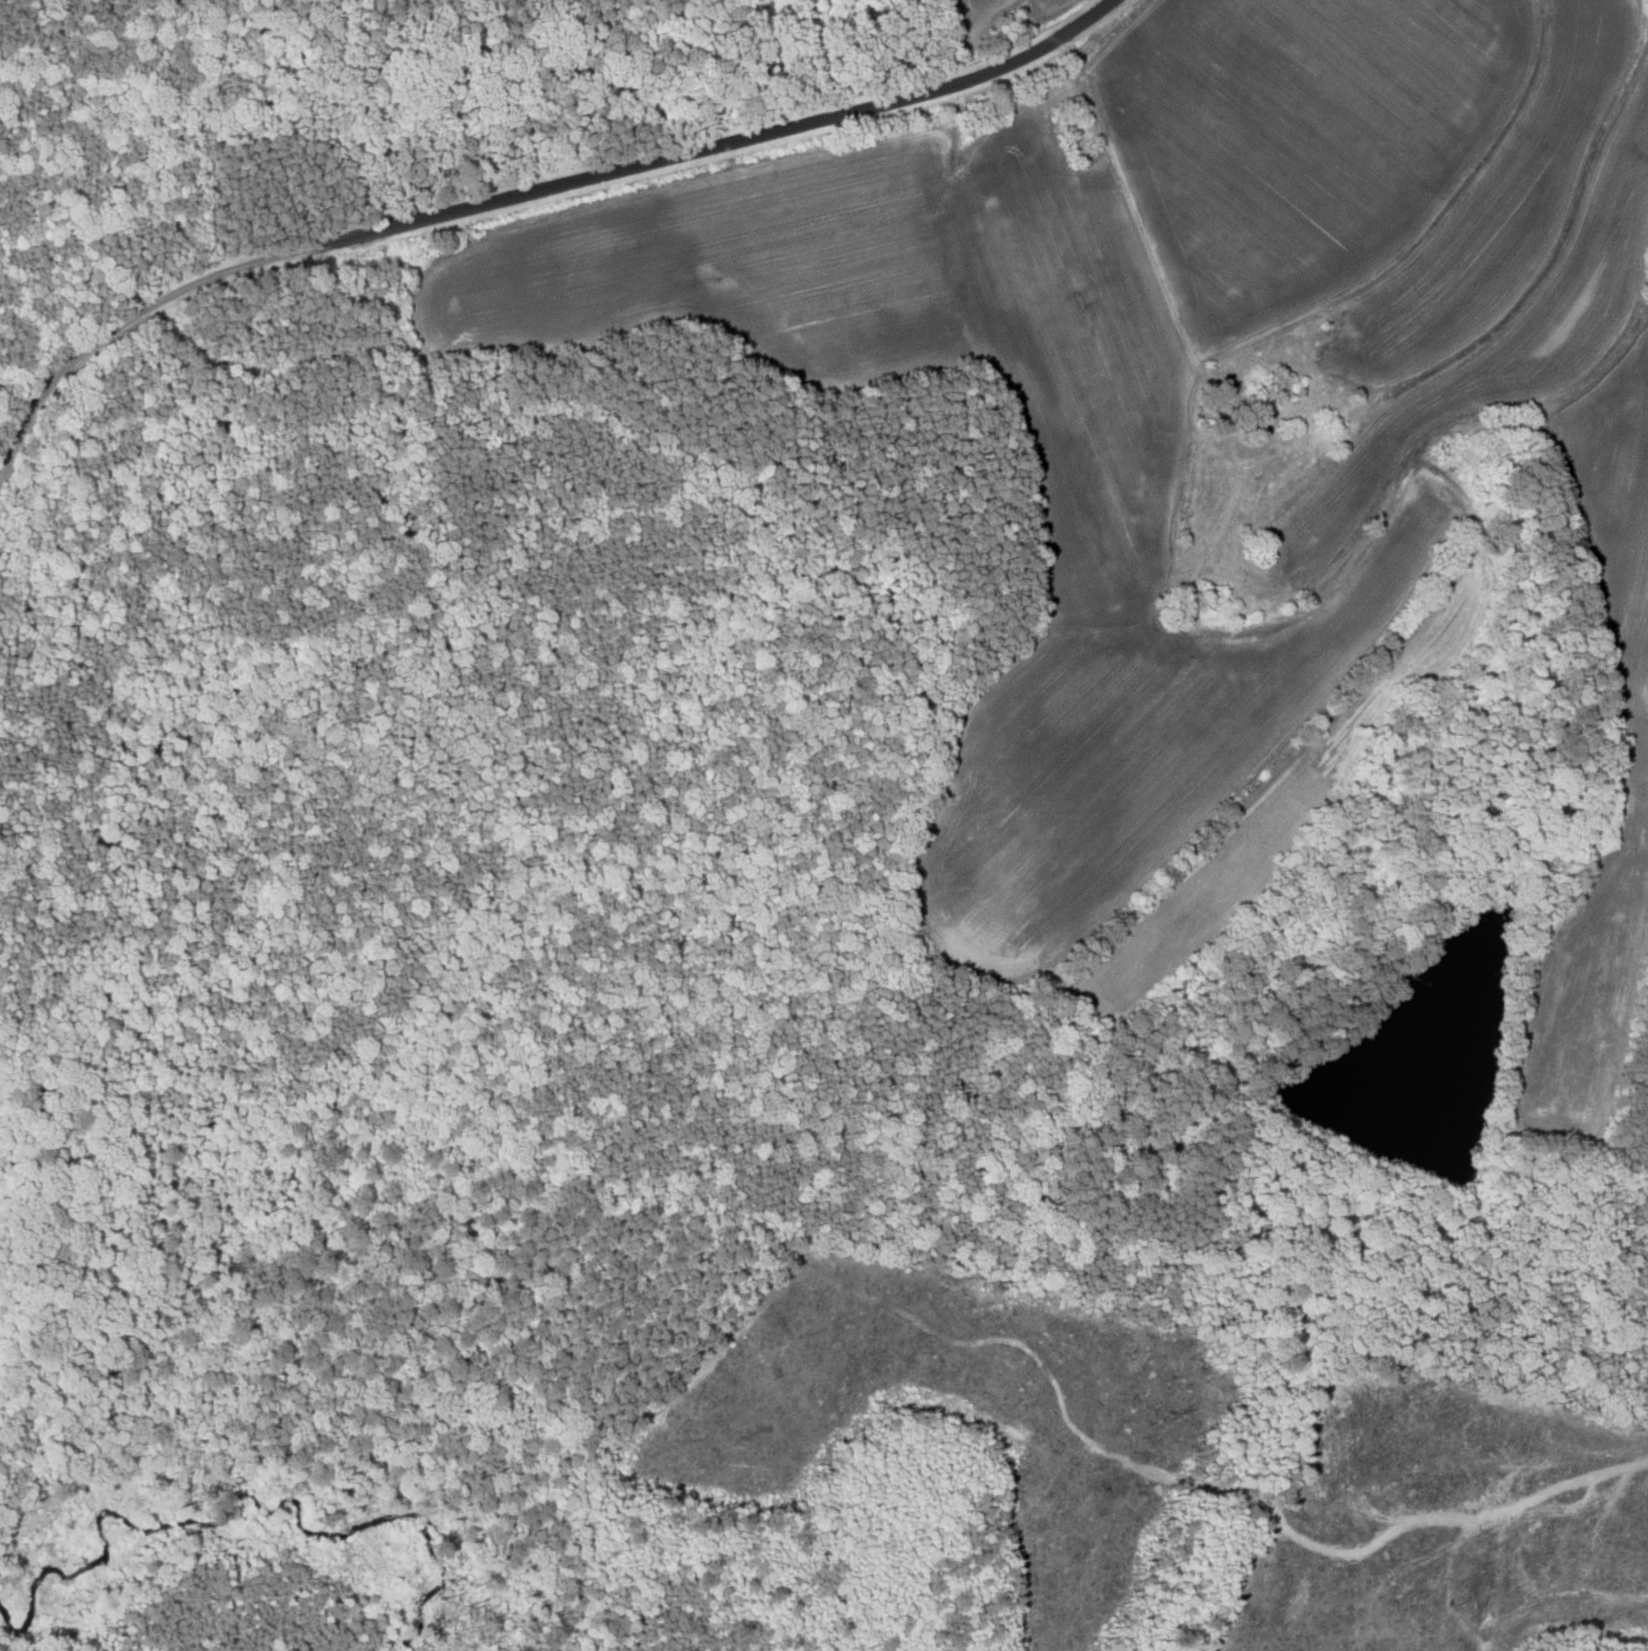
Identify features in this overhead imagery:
road: (525, 195)

